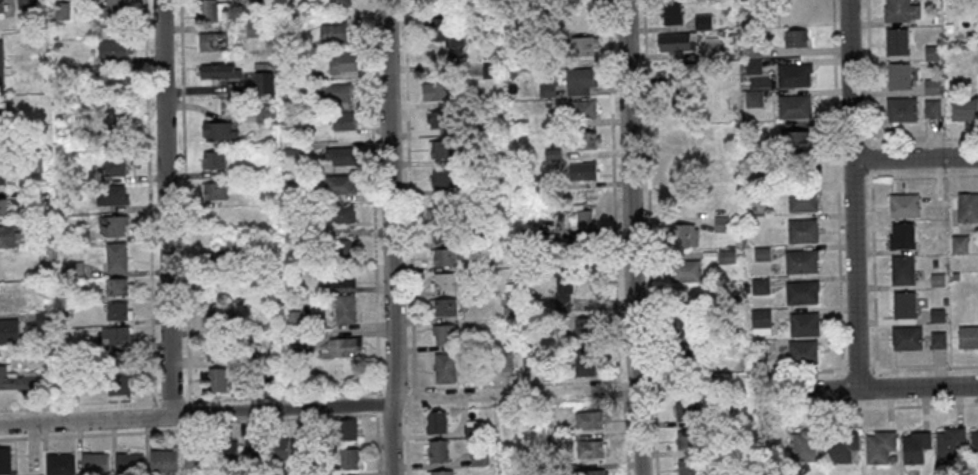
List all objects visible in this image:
building: (340, 2)
building: (26, 3)
building: (1, 5)
building: (61, 10)
building: (112, 10)
building: (212, 10)
building: (899, 10)
building: (977, 10)
building: (671, 13)
building: (573, 14)
building: (932, 19)
building: (702, 21)
building: (252, 28)
building: (333, 31)
building: (547, 31)
building: (718, 32)
building: (53, 35)
building: (445, 35)
building: (966, 35)
building: (733, 36)
building: (282, 37)
building: (795, 37)
building: (895, 40)
building: (210, 41)
building: (673, 41)
building: (55, 43)
building: (580, 45)
building: (112, 48)
building: (708, 48)
building: (752, 49)
building: (931, 52)
building: (536, 59)
building: (342, 61)
building: (0, 65)
building: (752, 66)
building: (489, 69)
building: (218, 70)
building: (287, 73)
building: (793, 74)
building: (898, 75)
building: (112, 77)
building: (578, 80)
building: (262, 82)
building: (546, 85)
building: (932, 86)
building: (682, 90)
building: (435, 91)
building: (337, 92)
building: (473, 97)
building: (753, 98)
building: (547, 103)
building: (793, 106)
building: (900, 108)
building: (931, 108)
building: (963, 108)
building: (581, 109)
building: (1, 111)
building: (263, 112)
building: (111, 116)
building: (440, 118)
building: (342, 120)
building: (218, 130)
building: (84, 133)
building: (679, 136)
building: (585, 139)
building: (748, 142)
building: (795, 142)
building: (720, 144)
building: (269, 148)
building: (440, 148)
building: (291, 149)
building: (551, 154)
building: (340, 155)
road: (914, 159)
building: (213, 160)
building: (33, 164)
building: (114, 165)
building: (582, 170)
building: (679, 174)
building: (1, 175)
building: (441, 178)
building: (339, 183)
building: (538, 184)
building: (466, 189)
building: (214, 190)
building: (286, 191)
building: (753, 193)
building: (112, 194)
building: (301, 194)
road: (630, 194)
road: (851, 194)
building: (802, 199)
building: (903, 205)
building: (2, 206)
road: (166, 207)
building: (967, 207)
building: (442, 208)
building: (336, 213)
building: (582, 222)
building: (720, 223)
building: (111, 224)
building: (42, 225)
building: (290, 230)
building: (801, 230)
building: (443, 232)
building: (6, 235)
building: (80, 235)
building: (682, 235)
building: (901, 235)
road: (390, 237)
building: (738, 241)
building: (958, 244)
building: (344, 250)
building: (760, 253)
building: (709, 255)
building: (115, 256)
building: (442, 256)
building: (726, 256)
building: (218, 260)
building: (800, 261)
building: (933, 263)
building: (71, 268)
building: (684, 270)
building: (901, 270)
building: (954, 276)
building: (340, 277)
building: (936, 279)
building: (442, 281)
building: (562, 282)
building: (43, 285)
building: (759, 285)
building: (117, 286)
building: (507, 286)
building: (287, 290)
building: (800, 291)
building: (10, 297)
building: (944, 301)
building: (903, 304)
building: (443, 306)
building: (345, 308)
building: (116, 310)
building: (506, 311)
building: (63, 312)
building: (936, 315)
building: (701, 316)
building: (759, 317)
building: (43, 318)
building: (217, 318)
building: (292, 319)
building: (804, 324)
building: (682, 325)
building: (584, 327)
building: (8, 330)
building: (759, 330)
building: (725, 332)
building: (117, 334)
building: (443, 334)
building: (906, 337)
building: (968, 337)
building: (936, 339)
building: (64, 344)
building: (296, 344)
building: (345, 346)
building: (215, 348)
building: (757, 350)
building: (802, 351)
building: (273, 356)
building: (682, 356)
building: (248, 357)
building: (118, 358)
building: (530, 359)
building: (581, 359)
building: (501, 361)
building: (444, 367)
building: (218, 379)
building: (18, 380)
building: (70, 384)
building: (118, 385)
road: (504, 385)
road: (917, 387)
road: (614, 389)
road: (822, 390)
building: (687, 410)
road: (196, 413)
building: (723, 415)
building: (587, 419)
building: (436, 421)
building: (471, 428)
building: (347, 429)
road: (402, 431)
road: (638, 431)
road: (624, 432)
building: (302, 436)
building: (688, 439)
building: (552, 441)
building: (949, 442)
building: (806, 443)
building: (724, 444)
building: (973, 444)
building: (841, 446)
building: (879, 446)
building: (914, 447)
building: (279, 448)
building: (315, 449)
building: (589, 449)
building: (253, 450)
building: (227, 451)
building: (437, 451)
building: (304, 453)
building: (197, 457)
building: (478, 457)
building: (349, 458)
building: (891, 458)
building: (5, 460)
building: (163, 460)
building: (94, 463)
building: (128, 463)
building: (59, 464)
building: (689, 467)
building: (556, 468)
building: (727, 470)
building: (441, 472)
building: (590, 472)
building: (320, 474)

